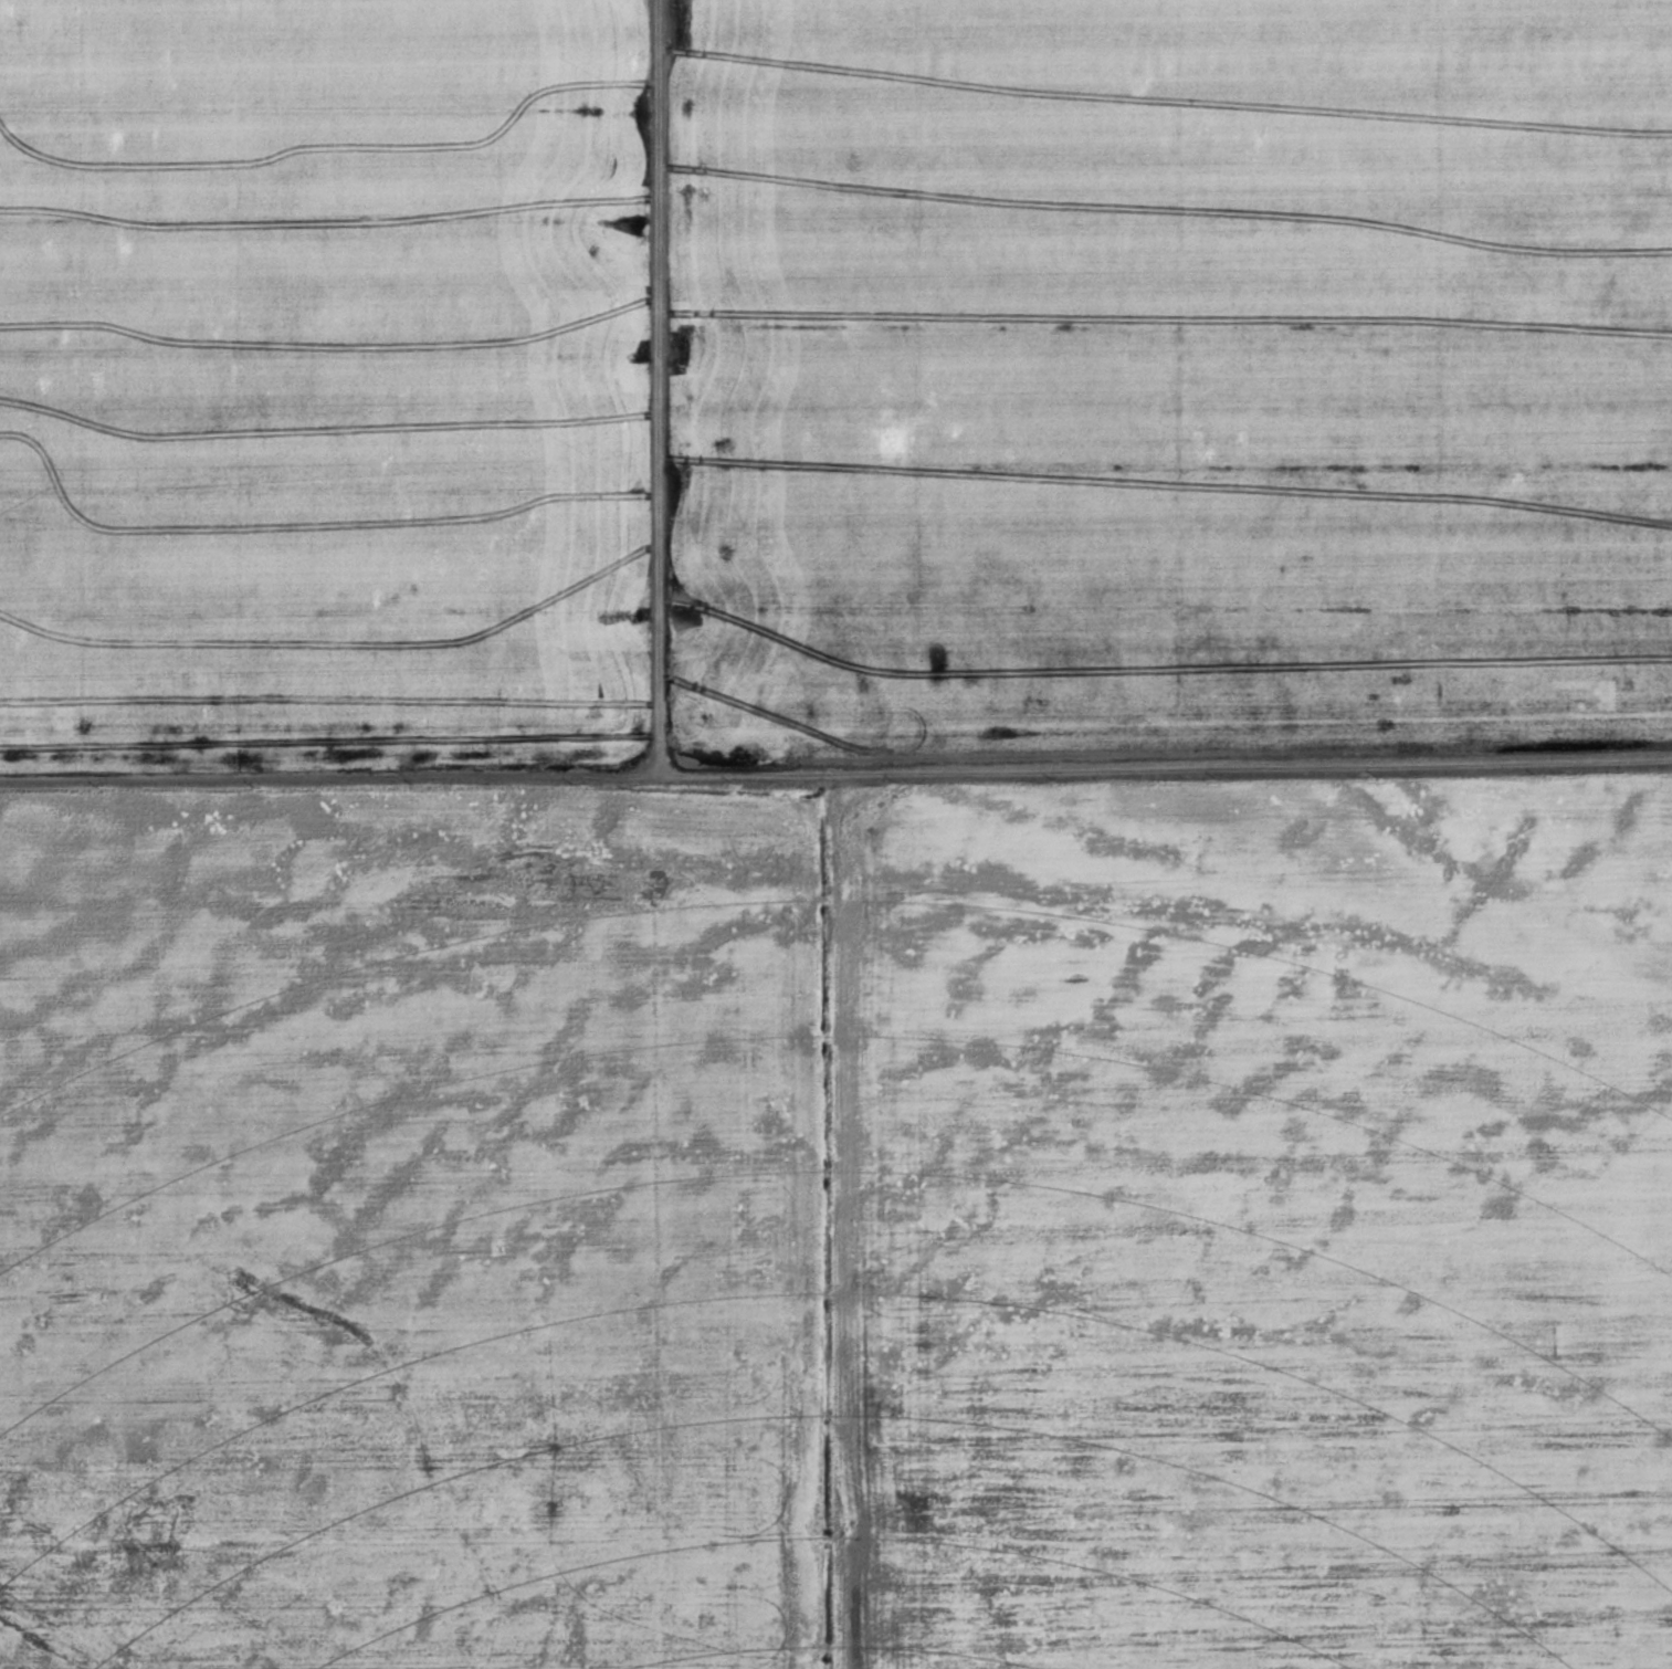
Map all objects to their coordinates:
road: (624, 986)

